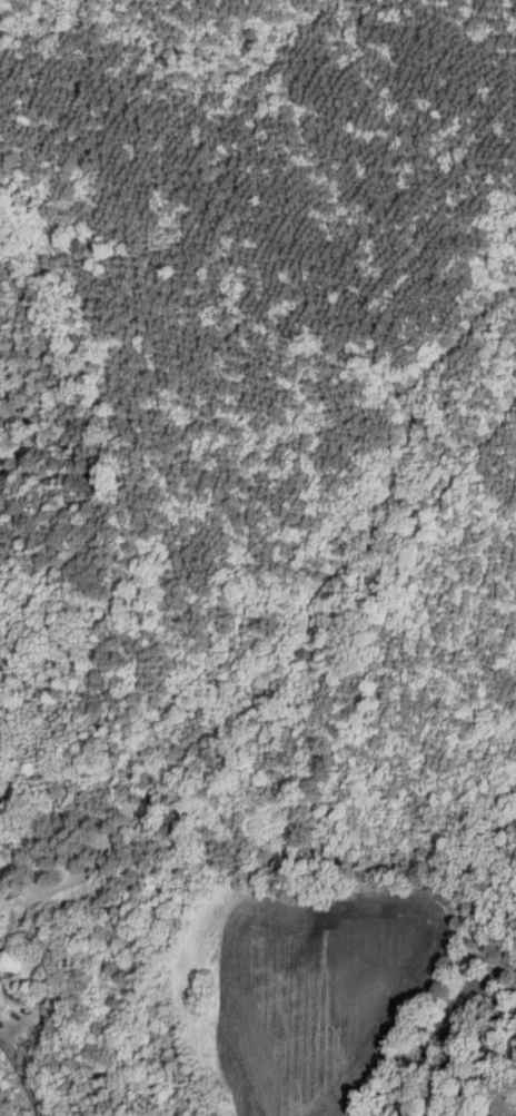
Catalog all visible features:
road: (21, 1078)

